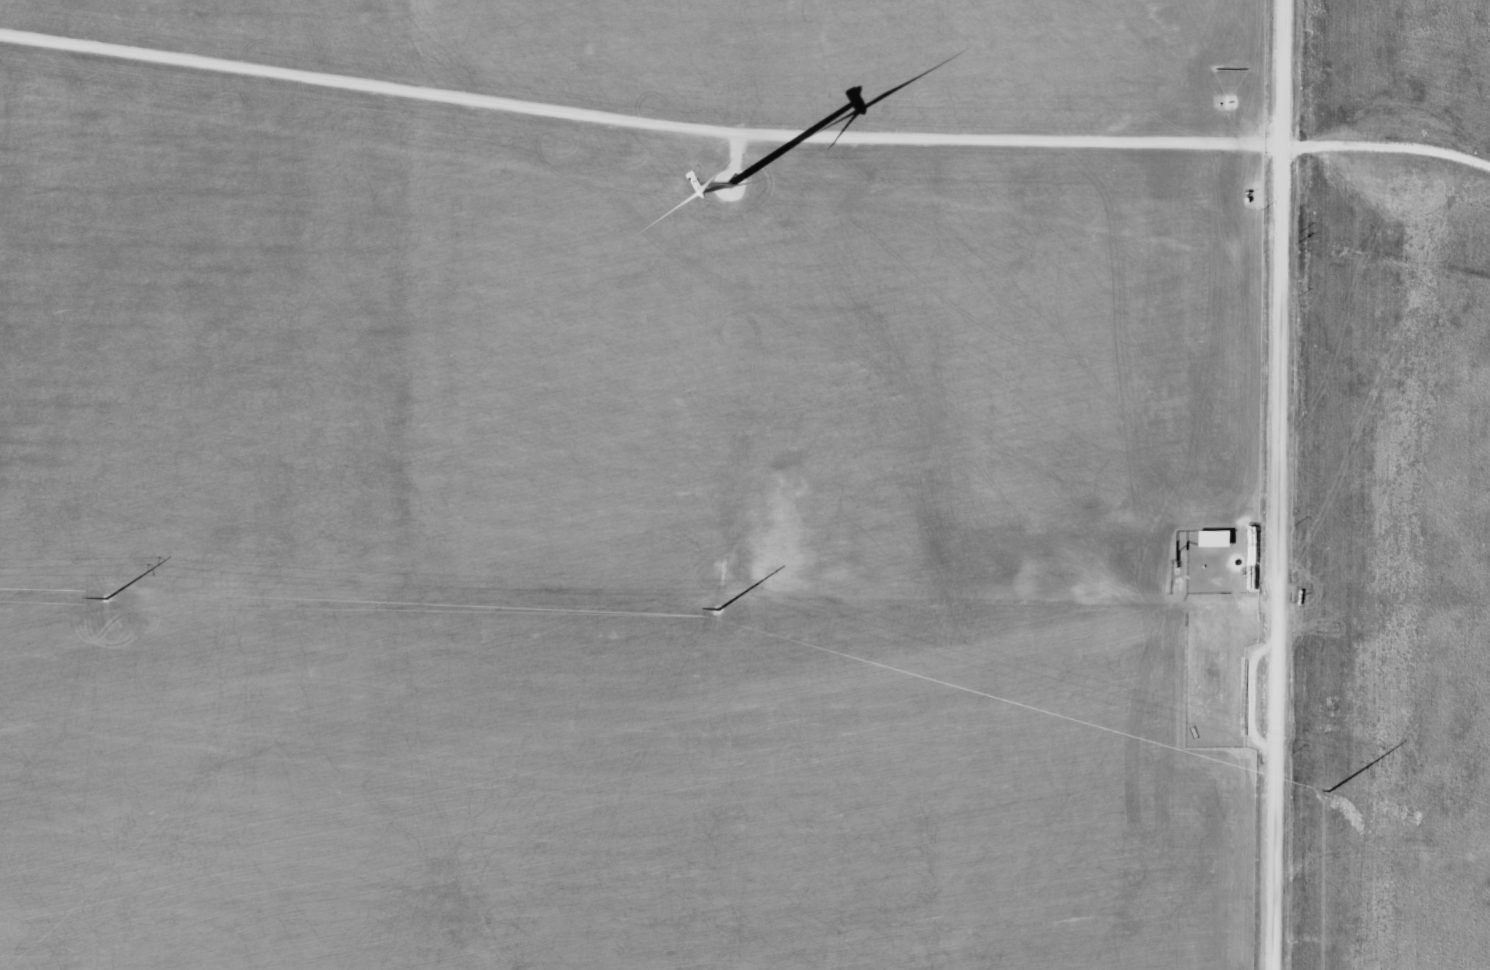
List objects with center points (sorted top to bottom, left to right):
wind turbine: (730, 189)
road: (1280, 485)
building: (1219, 539)
power tower: (111, 598)
power tower: (719, 610)
power tower: (1331, 794)

